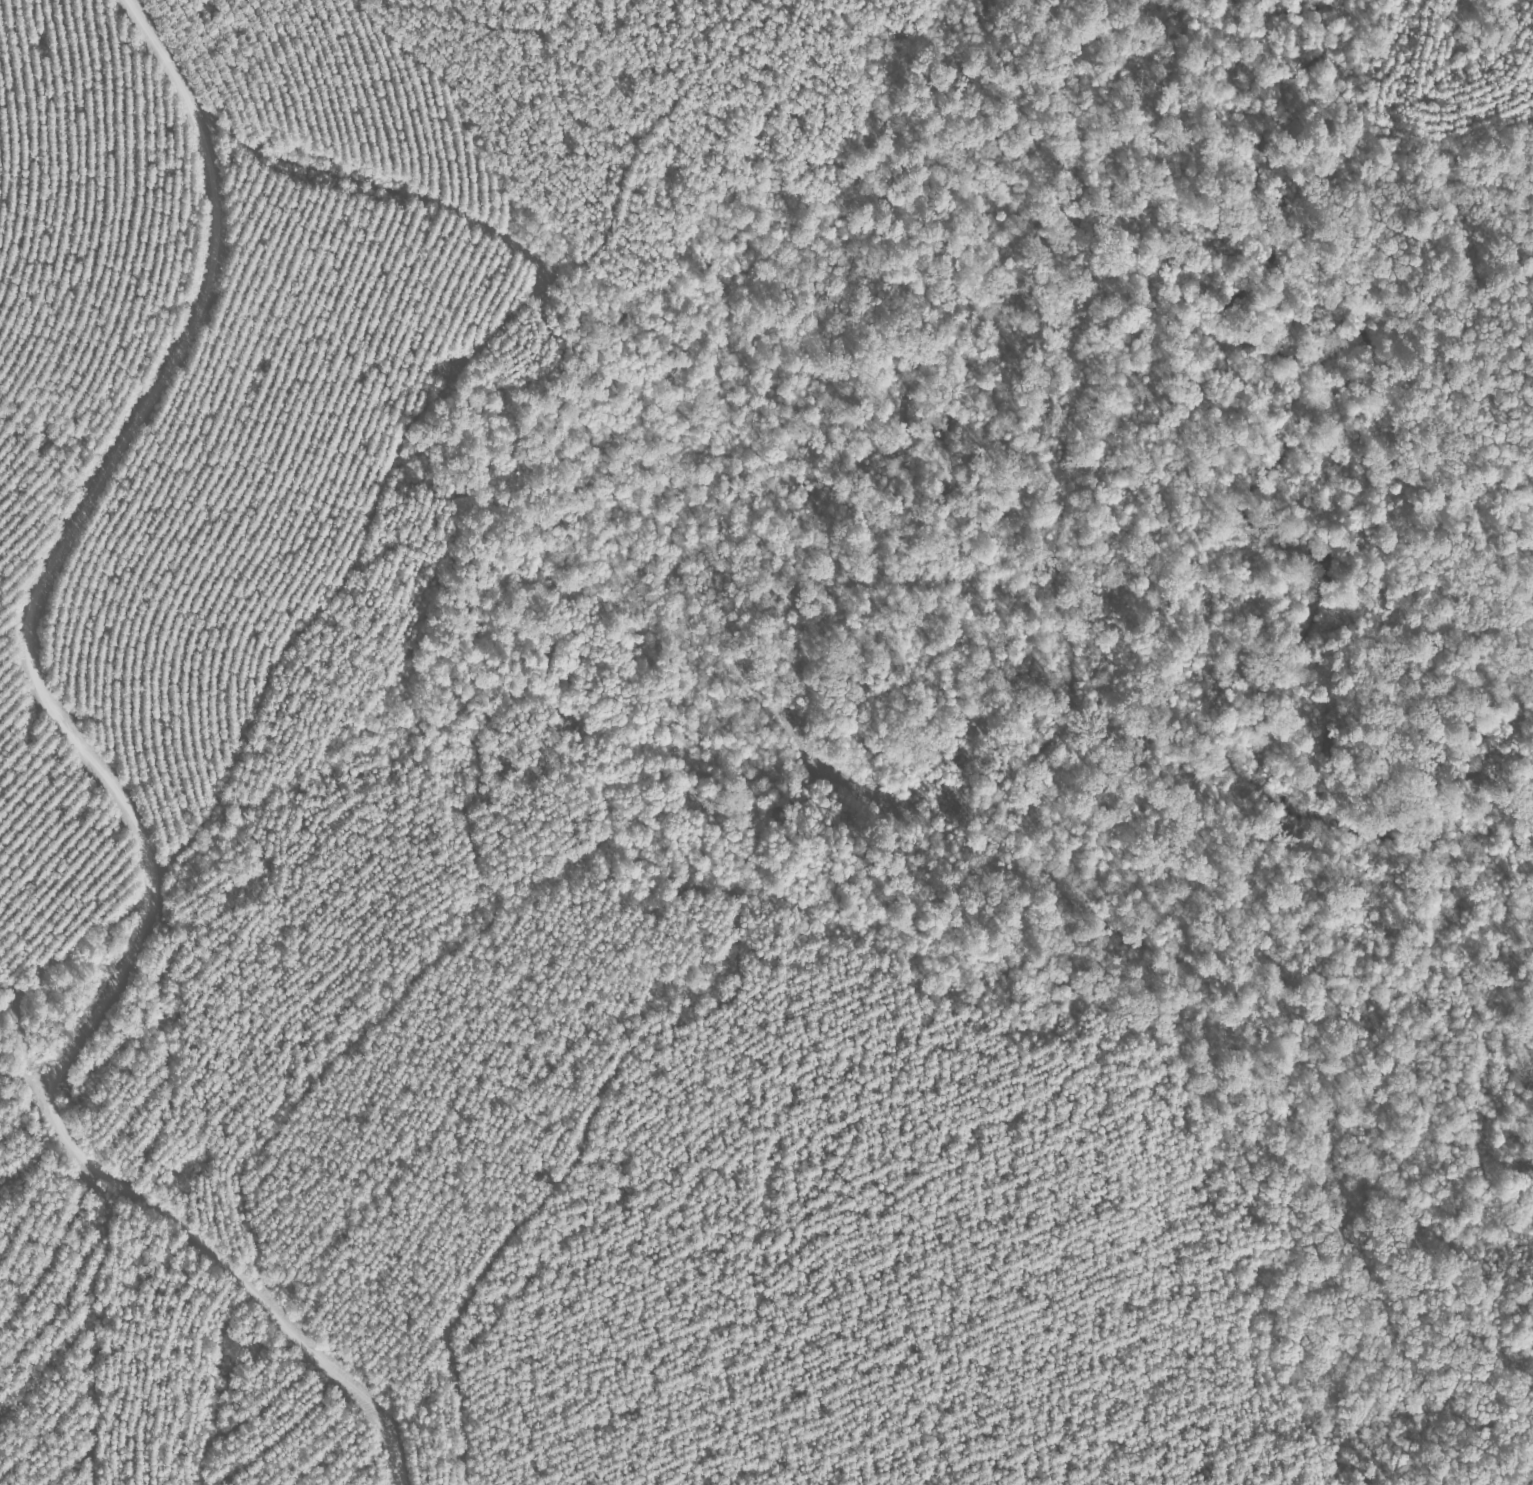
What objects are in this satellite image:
road: (240, 1252)

